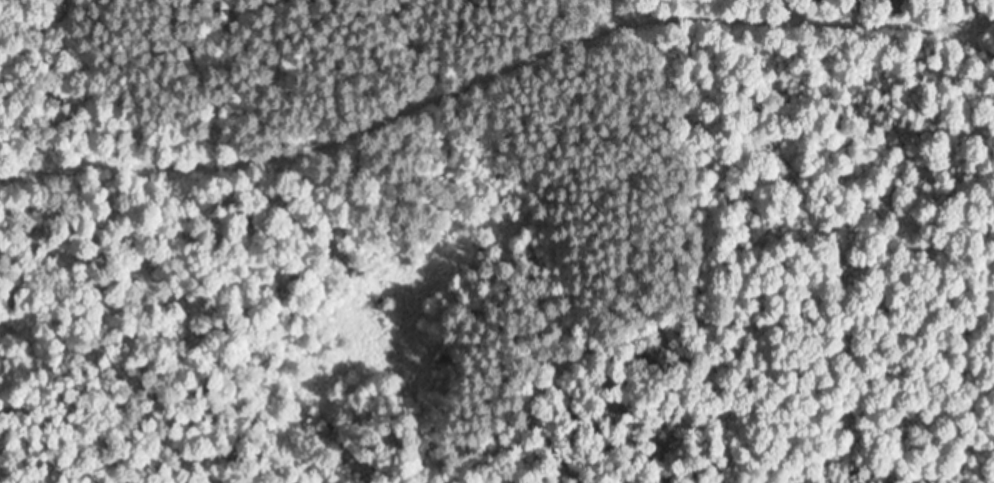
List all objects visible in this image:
road: (494, 76)

